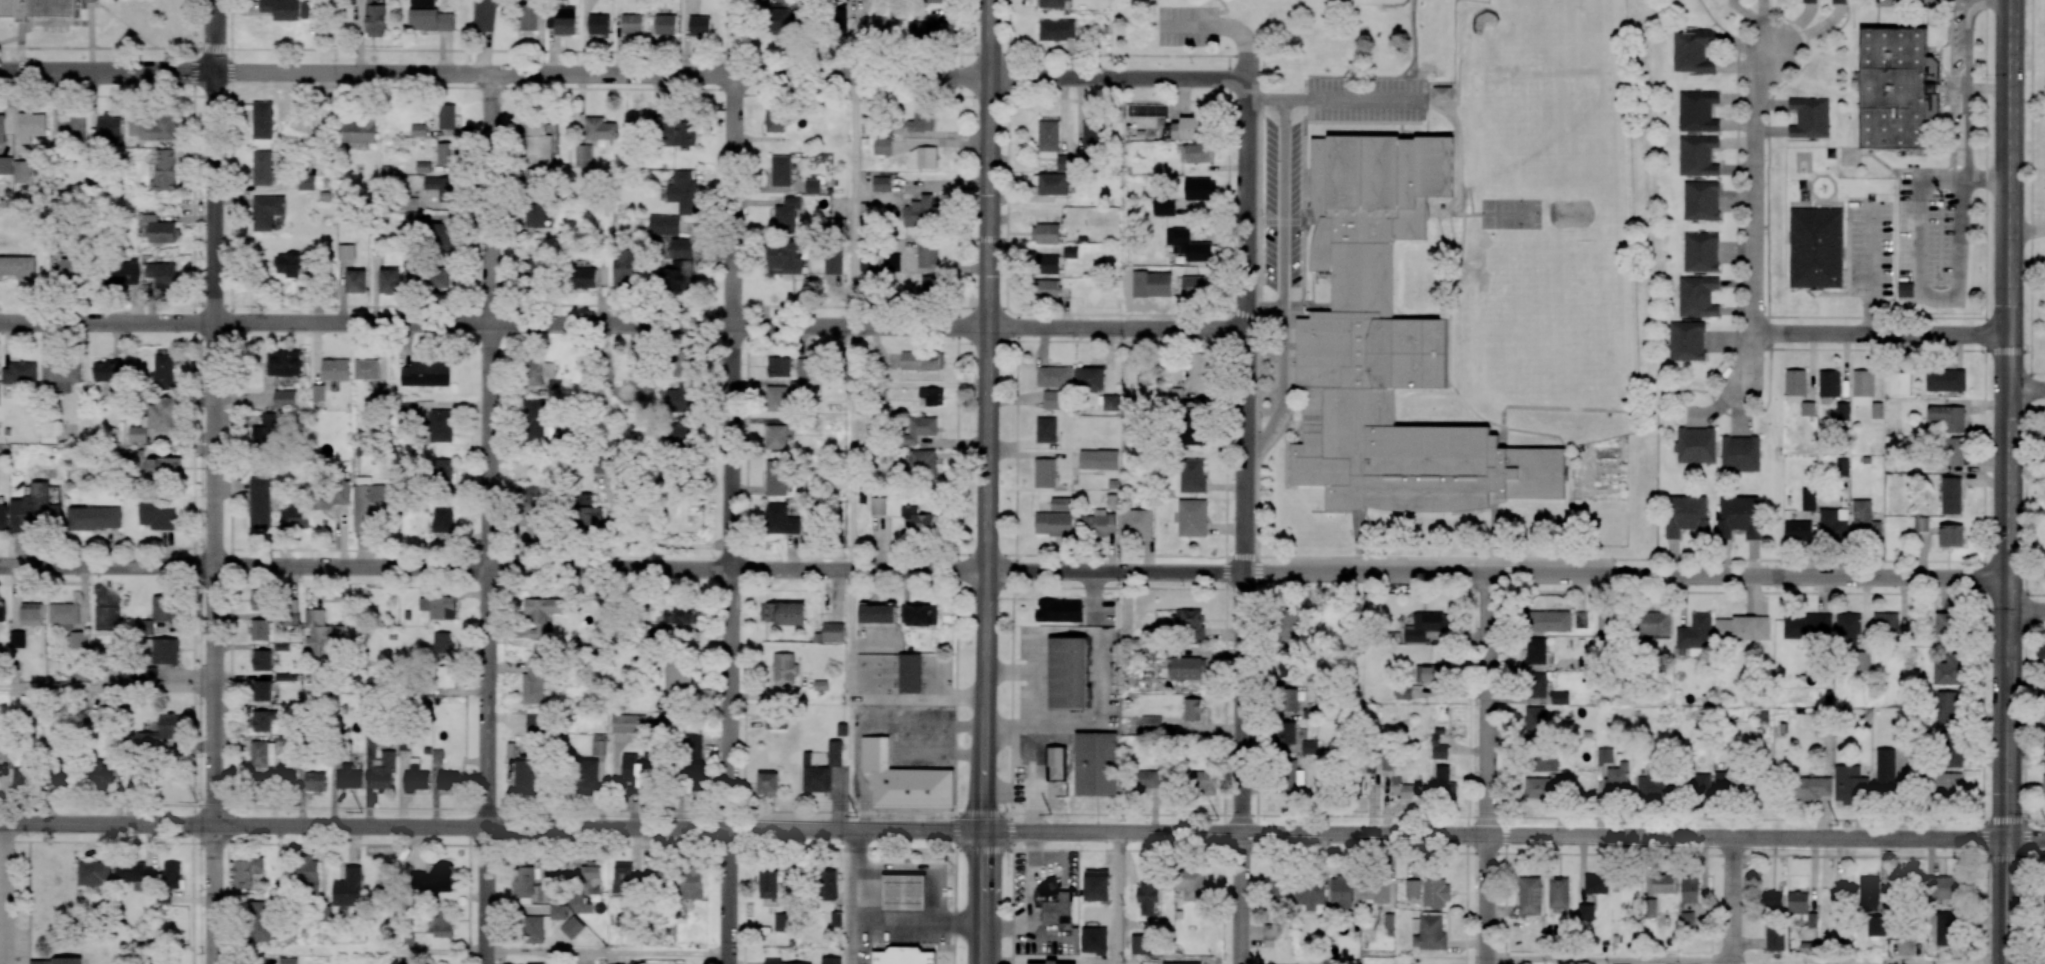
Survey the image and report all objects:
road: (1934, 0)
building: (929, 1)
park: (1335, 1)
building: (1809, 1)
building: (1838, 1)
building: (1051, 3)
building: (7, 7)
building: (54, 8)
building: (286, 9)
road: (1226, 9)
building: (484, 15)
building: (428, 16)
building: (528, 17)
building: (841, 19)
building: (375, 20)
building: (561, 20)
building: (780, 20)
road: (1717, 22)
building: (632, 23)
building: (598, 24)
building: (665, 24)
parking lot: (1186, 25)
road: (1226, 25)
building: (699, 26)
building: (874, 26)
road: (1798, 28)
building: (927, 29)
building: (1056, 29)
park: (1279, 30)
road: (214, 34)
road: (96, 47)
road: (1413, 51)
building: (1693, 52)
road: (1103, 53)
road: (106, 69)
road: (602, 72)
road: (1118, 77)
road: (1970, 85)
road: (1970, 88)
building: (1896, 90)
building: (1442, 93)
road: (1102, 98)
road: (1332, 101)
building: (1697, 111)
building: (446, 116)
building: (1809, 117)
building: (774, 118)
road: (1007, 119)
building: (262, 120)
building: (921, 120)
road: (1361, 122)
building: (31, 126)
building: (70, 127)
building: (152, 127)
building: (2, 128)
building: (109, 128)
building: (1190, 128)
building: (599, 129)
building: (358, 131)
building: (673, 132)
building: (1048, 135)
building: (1093, 135)
building: (539, 143)
building: (881, 146)
building: (1197, 152)
building: (445, 153)
building: (582, 155)
building: (1697, 156)
building: (922, 157)
building: (1062, 161)
building: (5, 165)
building: (262, 168)
road: (1893, 168)
building: (165, 170)
building: (21, 171)
building: (781, 171)
building: (306, 182)
building: (881, 184)
building: (1053, 184)
building: (812, 186)
building: (440, 187)
road: (1755, 188)
building: (1200, 189)
building: (684, 193)
road: (853, 196)
building: (1700, 200)
building: (1164, 206)
building: (923, 210)
building: (266, 211)
building: (786, 214)
building: (534, 215)
road: (1281, 221)
building: (663, 225)
building: (834, 225)
building: (159, 229)
road: (2026, 230)
building: (1045, 233)
building: (443, 236)
road: (982, 239)
traffic signals: (989, 240)
building: (1187, 245)
building: (681, 248)
building: (1815, 248)
building: (346, 251)
building: (1070, 251)
building: (1700, 252)
building: (927, 254)
building: (785, 258)
building: (833, 261)
building: (865, 262)
building: (891, 262)
building: (292, 264)
building: (1047, 264)
road: (2026, 266)
building: (18, 267)
building: (71, 267)
building: (625, 269)
building: (121, 271)
road: (1919, 271)
road: (1872, 272)
building: (162, 274)
building: (679, 275)
building: (437, 277)
building: (584, 277)
road: (1302, 280)
building: (356, 281)
building: (389, 281)
building: (1151, 284)
building: (1196, 285)
building: (929, 286)
road: (1285, 286)
building: (1047, 289)
building: (1905, 289)
building: (1697, 296)
road: (1265, 307)
road: (1138, 314)
road: (1875, 316)
road: (107, 319)
road: (601, 322)
road: (1117, 326)
road: (1881, 334)
road: (1091, 340)
building: (1686, 341)
road: (1900, 350)
traffic signals: (2008, 351)
building: (1393, 352)
building: (922, 361)
road: (1749, 361)
building: (283, 363)
building: (684, 364)
building: (779, 366)
building: (806, 368)
building: (335, 369)
building: (366, 369)
building: (107, 370)
building: (1200, 371)
building: (20, 372)
building: (164, 372)
building: (538, 372)
building: (425, 374)
road: (1275, 374)
building: (61, 375)
road: (1275, 375)
building: (1054, 376)
building: (1945, 380)
building: (1795, 382)
building: (1829, 383)
building: (1898, 383)
building: (554, 386)
building: (799, 386)
building: (1095, 386)
building: (1862, 388)
road: (2026, 391)
building: (318, 392)
building: (381, 392)
building: (932, 395)
building: (681, 398)
building: (776, 398)
building: (284, 399)
building: (1052, 400)
road: (1716, 406)
building: (409, 409)
building: (1807, 409)
building: (1876, 410)
building: (1842, 411)
building: (162, 414)
road: (732, 414)
building: (1945, 417)
road: (2007, 419)
building: (536, 423)
building: (440, 425)
building: (920, 428)
building: (1046, 429)
building: (139, 432)
building: (264, 432)
building: (1194, 433)
building: (677, 434)
building: (778, 436)
building: (1695, 445)
road: (214, 446)
road: (851, 446)
road: (489, 449)
building: (1952, 451)
building: (1740, 453)
road: (1245, 455)
building: (1099, 459)
road: (1659, 461)
building: (924, 463)
building: (163, 467)
building: (1842, 467)
building: (442, 470)
building: (1045, 473)
building: (1192, 475)
road: (1257, 475)
building: (775, 477)
road: (2027, 481)
road: (957, 482)
road: (988, 482)
road: (1982, 482)
building: (332, 494)
building: (1951, 495)
building: (1808, 499)
building: (371, 500)
building: (260, 502)
building: (1062, 504)
building: (531, 505)
building: (878, 506)
building: (34, 508)
road: (1225, 509)
building: (588, 513)
building: (158, 515)
building: (1686, 516)
building: (3, 517)
building: (294, 517)
building: (1738, 517)
building: (94, 518)
building: (1192, 518)
building: (780, 519)
building: (919, 519)
building: (442, 520)
building: (1864, 521)
building: (1137, 522)
building: (1054, 523)
building: (1832, 523)
building: (1098, 524)
building: (1920, 524)
building: (1797, 530)
building: (1950, 535)
road: (1469, 557)
road: (107, 563)
road: (601, 565)
road: (1497, 574)
road: (1106, 587)
road: (1757, 594)
road: (1013, 597)
building: (258, 599)
building: (438, 607)
building: (163, 608)
building: (2, 612)
road: (2026, 612)
building: (63, 613)
building: (783, 613)
building: (31, 614)
building: (541, 614)
building: (679, 614)
building: (877, 614)
building: (921, 615)
building: (1581, 619)
building: (1548, 621)
building: (1885, 622)
building: (1653, 623)
building: (1189, 624)
building: (1946, 625)
building: (144, 626)
building: (1288, 626)
building: (1423, 626)
building: (1806, 626)
building: (1741, 628)
building: (259, 629)
building: (1848, 629)
building: (832, 632)
building: (1695, 632)
building: (320, 633)
building: (17, 639)
building: (77, 639)
building: (441, 642)
building: (2042, 649)
building: (1535, 651)
road: (1098, 656)
building: (263, 659)
building: (151, 661)
building: (1862, 661)
building: (1187, 668)
building: (1285, 668)
building: (784, 669)
building: (1948, 670)
building: (1067, 672)
building: (909, 673)
building: (1430, 673)
building: (446, 676)
building: (677, 677)
building: (533, 682)
building: (1537, 685)
road: (107, 687)
building: (262, 690)
building: (1402, 692)
road: (855, 695)
building: (1560, 697)
building: (1290, 698)
road: (1488, 704)
building: (1947, 707)
building: (1192, 709)
building: (105, 716)
building: (264, 719)
building: (1534, 720)
building: (773, 722)
building: (536, 723)
building: (1151, 723)
building: (628, 724)
building: (2044, 732)
building: (163, 733)
building: (1286, 733)
road: (895, 736)
building: (598, 744)
building: (1308, 747)
building: (1953, 748)
building: (370, 749)
building: (1438, 749)
building: (3, 751)
building: (262, 753)
building: (1604, 755)
building: (693, 760)
road: (1506, 760)
building: (1544, 761)
building: (1056, 763)
building: (1095, 763)
building: (821, 769)
building: (21, 770)
building: (383, 771)
building: (1884, 771)
building: (103, 772)
building: (527, 774)
building: (639, 774)
building: (59, 776)
building: (586, 776)
building: (348, 777)
building: (416, 777)
road: (1468, 777)
building: (1292, 778)
building: (1616, 778)
building: (315, 780)
building: (448, 780)
building: (904, 780)
building: (1146, 780)
building: (1203, 781)
building: (1724, 781)
building: (768, 783)
building: (1444, 783)
building: (1850, 783)
building: (1944, 783)
building: (1691, 784)
building: (2043, 785)
building: (1537, 787)
building: (1651, 787)
building: (1811, 788)
building: (1406, 789)
power tower: (197, 802)
power tower: (361, 812)
power tower: (1050, 814)
power tower: (555, 815)
power tower: (674, 815)
power tower: (857, 816)
road: (1499, 816)
power tower: (1217, 819)
power tower: (1432, 821)
power tower: (1628, 823)
road: (106, 824)
power tower: (1837, 824)
road: (599, 828)
traffic signals: (986, 831)
road: (1495, 836)
road: (2025, 839)
traffic signals: (2006, 840)
road: (1499, 853)
building: (246, 871)
road: (917, 872)
building: (94, 873)
building: (135, 875)
building: (307, 875)
building: (435, 877)
building: (591, 877)
building: (622, 877)
building: (660, 877)
building: (170, 879)
building: (523, 882)
building: (691, 882)
building: (1595, 883)
building: (1663, 883)
building: (768, 884)
building: (1191, 884)
building: (827, 885)
building: (1096, 885)
building: (348, 888)
building: (1412, 888)
building: (1943, 888)
building: (1689, 889)
building: (1282, 891)
building: (1341, 891)
building: (1376, 891)
building: (546, 892)
building: (903, 892)
building: (1435, 892)
building: (1869, 892)
road: (6, 894)
road: (214, 894)
building: (1310, 894)
building: (1559, 894)
building: (1529, 895)
road: (487, 896)
road: (730, 896)
road: (850, 896)
building: (1148, 897)
building: (1623, 897)
road: (1117, 898)
road: (1243, 899)
building: (1772, 899)
road: (1487, 900)
building: (579, 901)
road: (1733, 901)
road: (2005, 901)
building: (1053, 902)
building: (1797, 903)
building: (1585, 912)
building: (1811, 919)
building: (261, 920)
building: (782, 922)
road: (917, 923)
building: (443, 924)
building: (541, 924)
building: (1876, 925)
building: (572, 927)
building: (1944, 928)
building: (1269, 931)
building: (1427, 932)
building: (1774, 937)
building: (1093, 940)
building: (1139, 944)
building: (1905, 947)
road: (608, 953)
building: (902, 956)
building: (67, 960)
building: (288, 960)
building: (830, 960)
road: (1609, 960)
building: (160, 961)
building: (39, 962)
building: (534, 962)
building: (778, 962)
building: (1048, 963)

